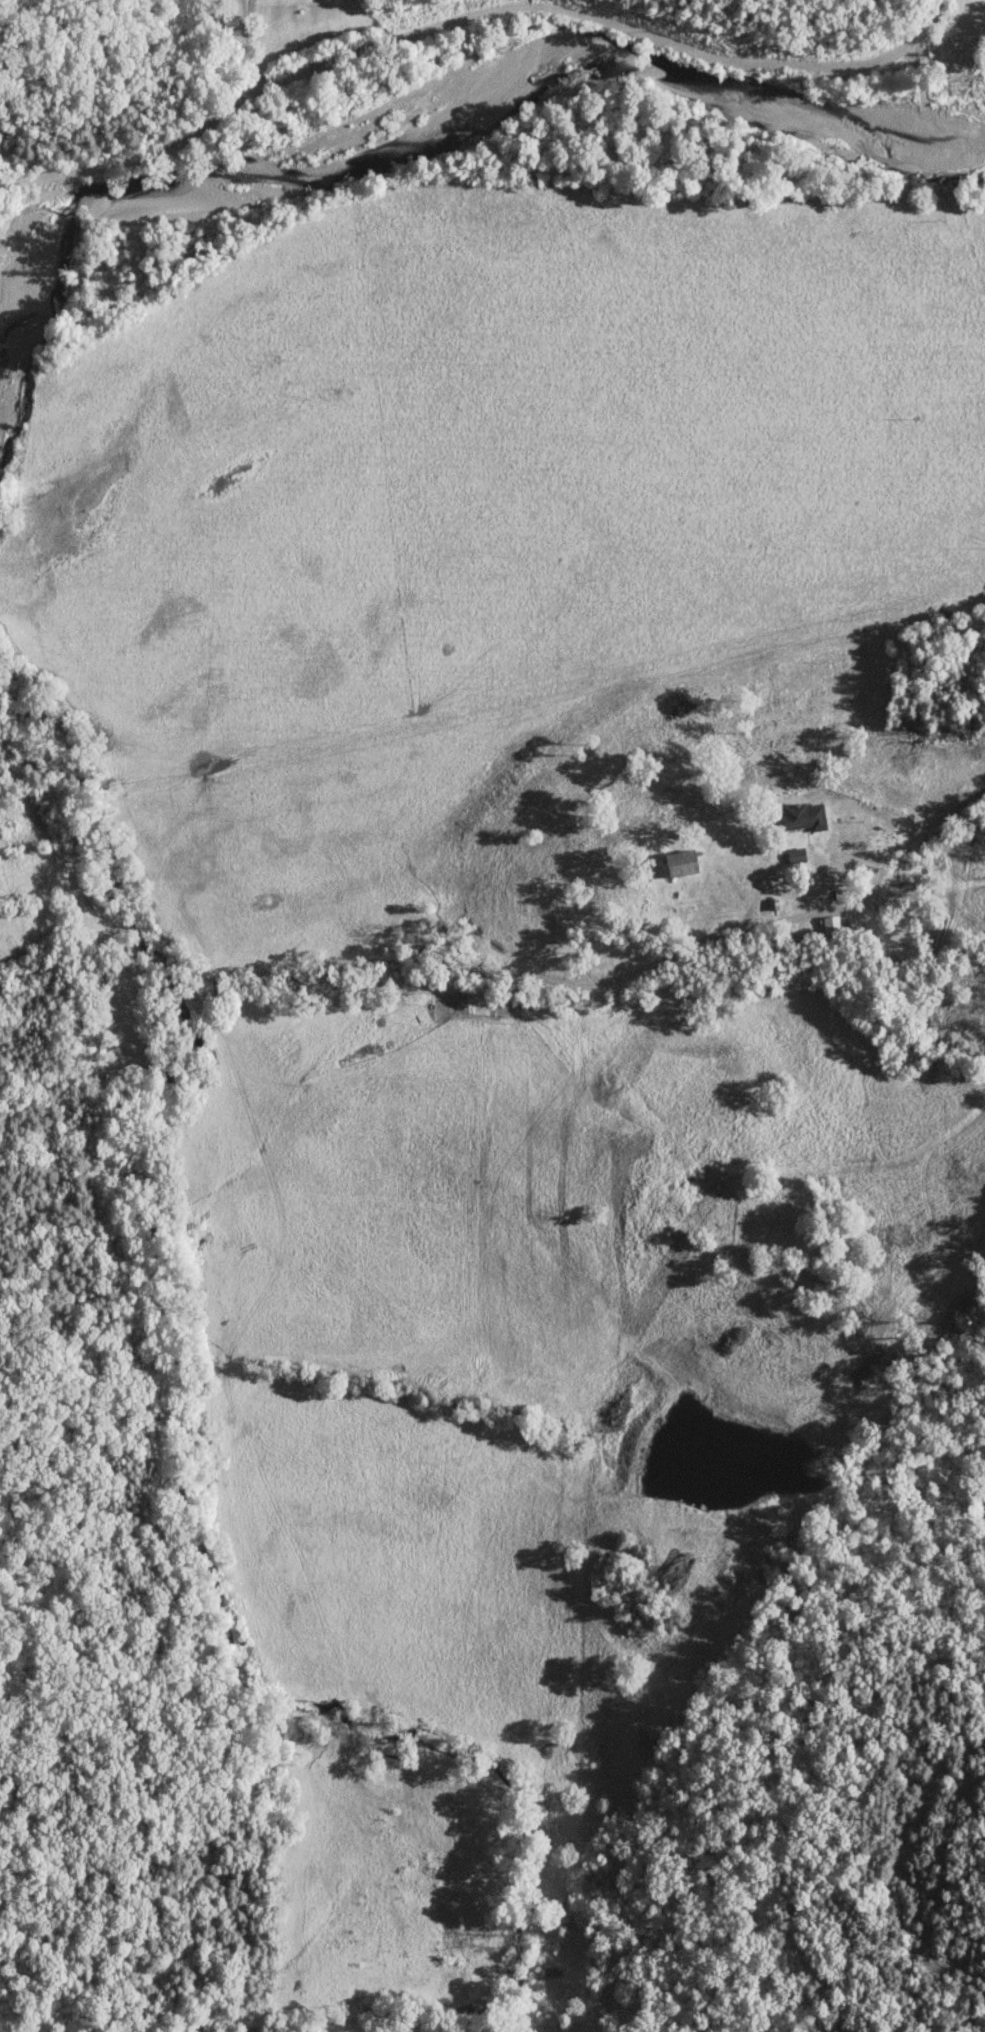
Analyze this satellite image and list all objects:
road: (471, 12)
building: (802, 816)
building: (797, 854)
building: (688, 861)
building: (832, 923)
road: (456, 984)
park: (772, 1210)

